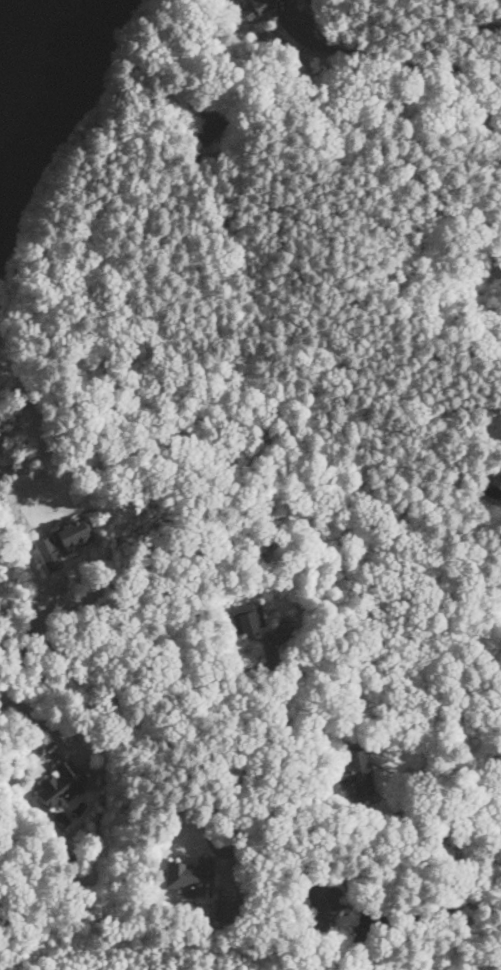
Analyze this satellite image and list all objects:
building: (284, 6)
building: (255, 7)
road: (476, 16)
road: (397, 69)
building: (207, 125)
building: (63, 536)
building: (246, 618)
building: (282, 627)
road: (29, 633)
road: (416, 688)
road: (40, 720)
road: (208, 770)
building: (357, 770)
building: (61, 784)
road: (450, 817)
road: (499, 818)
building: (192, 875)
building: (324, 895)
road: (472, 895)
building: (222, 908)

